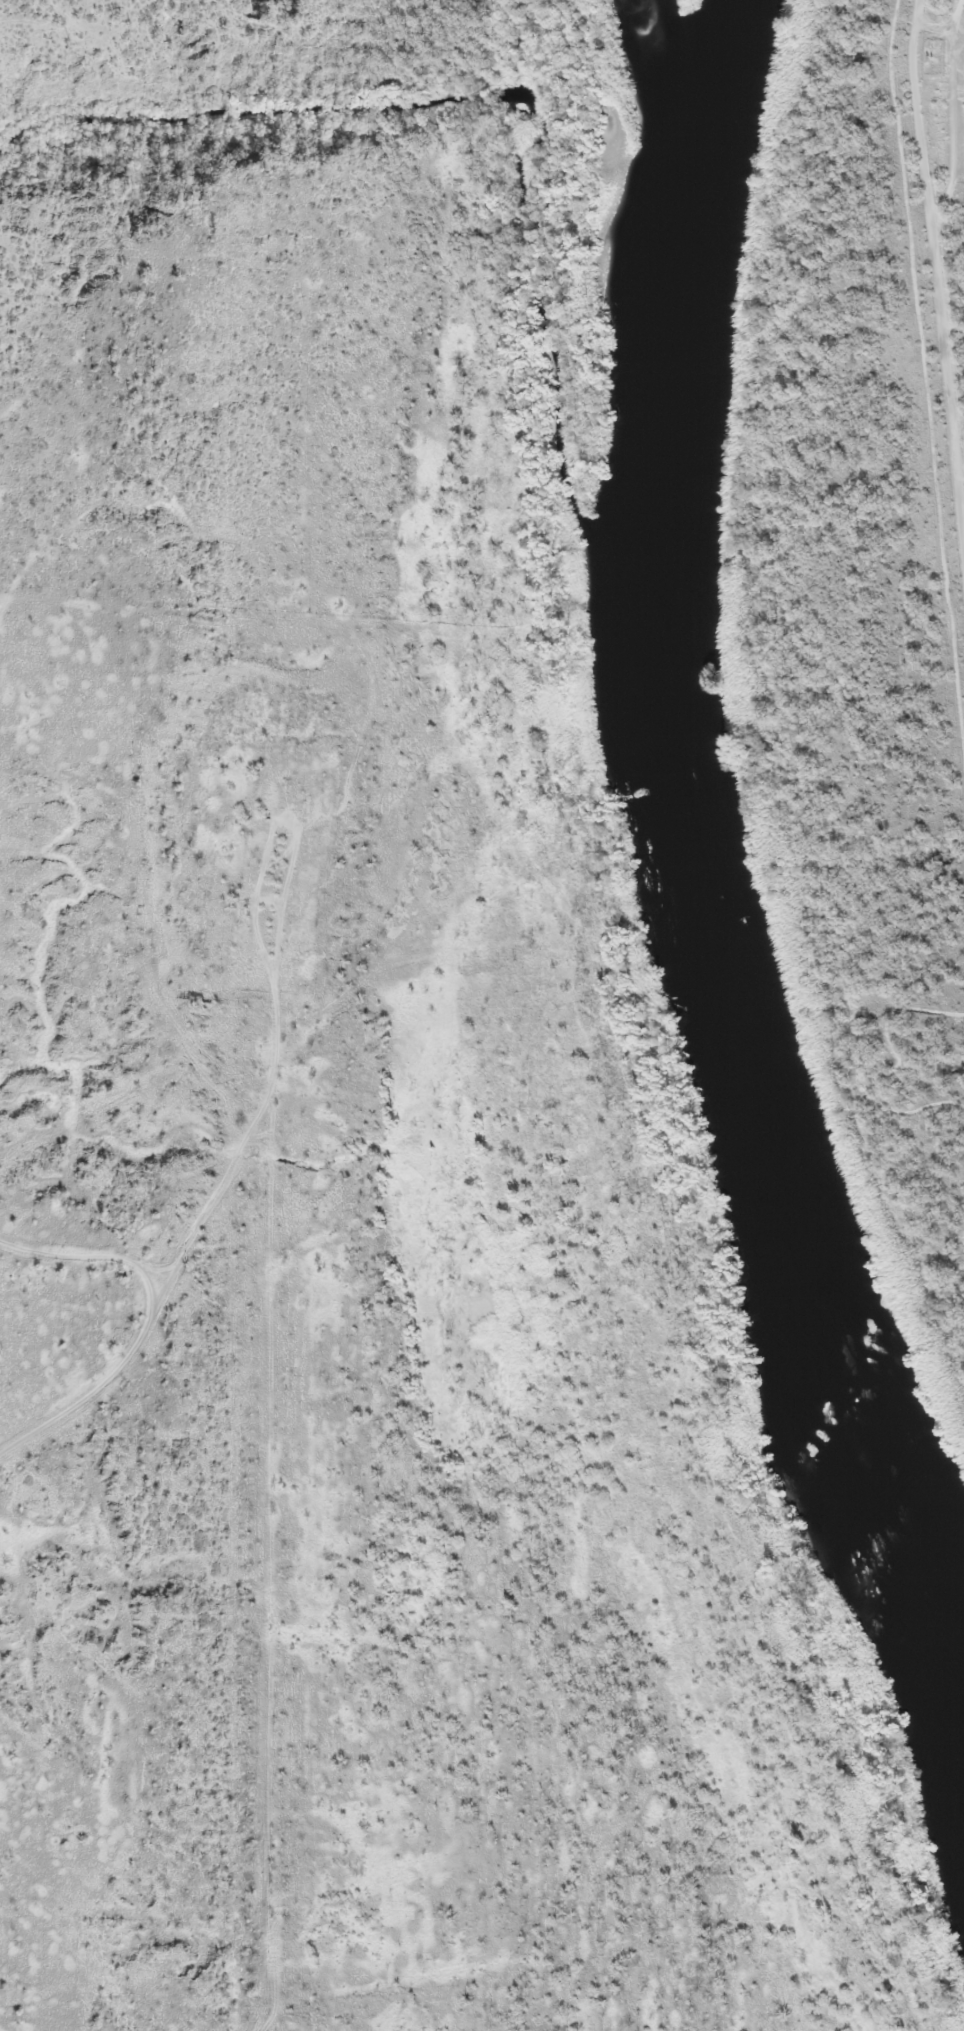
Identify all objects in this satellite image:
river: (696, 838)
road: (215, 1196)
road: (83, 1257)

